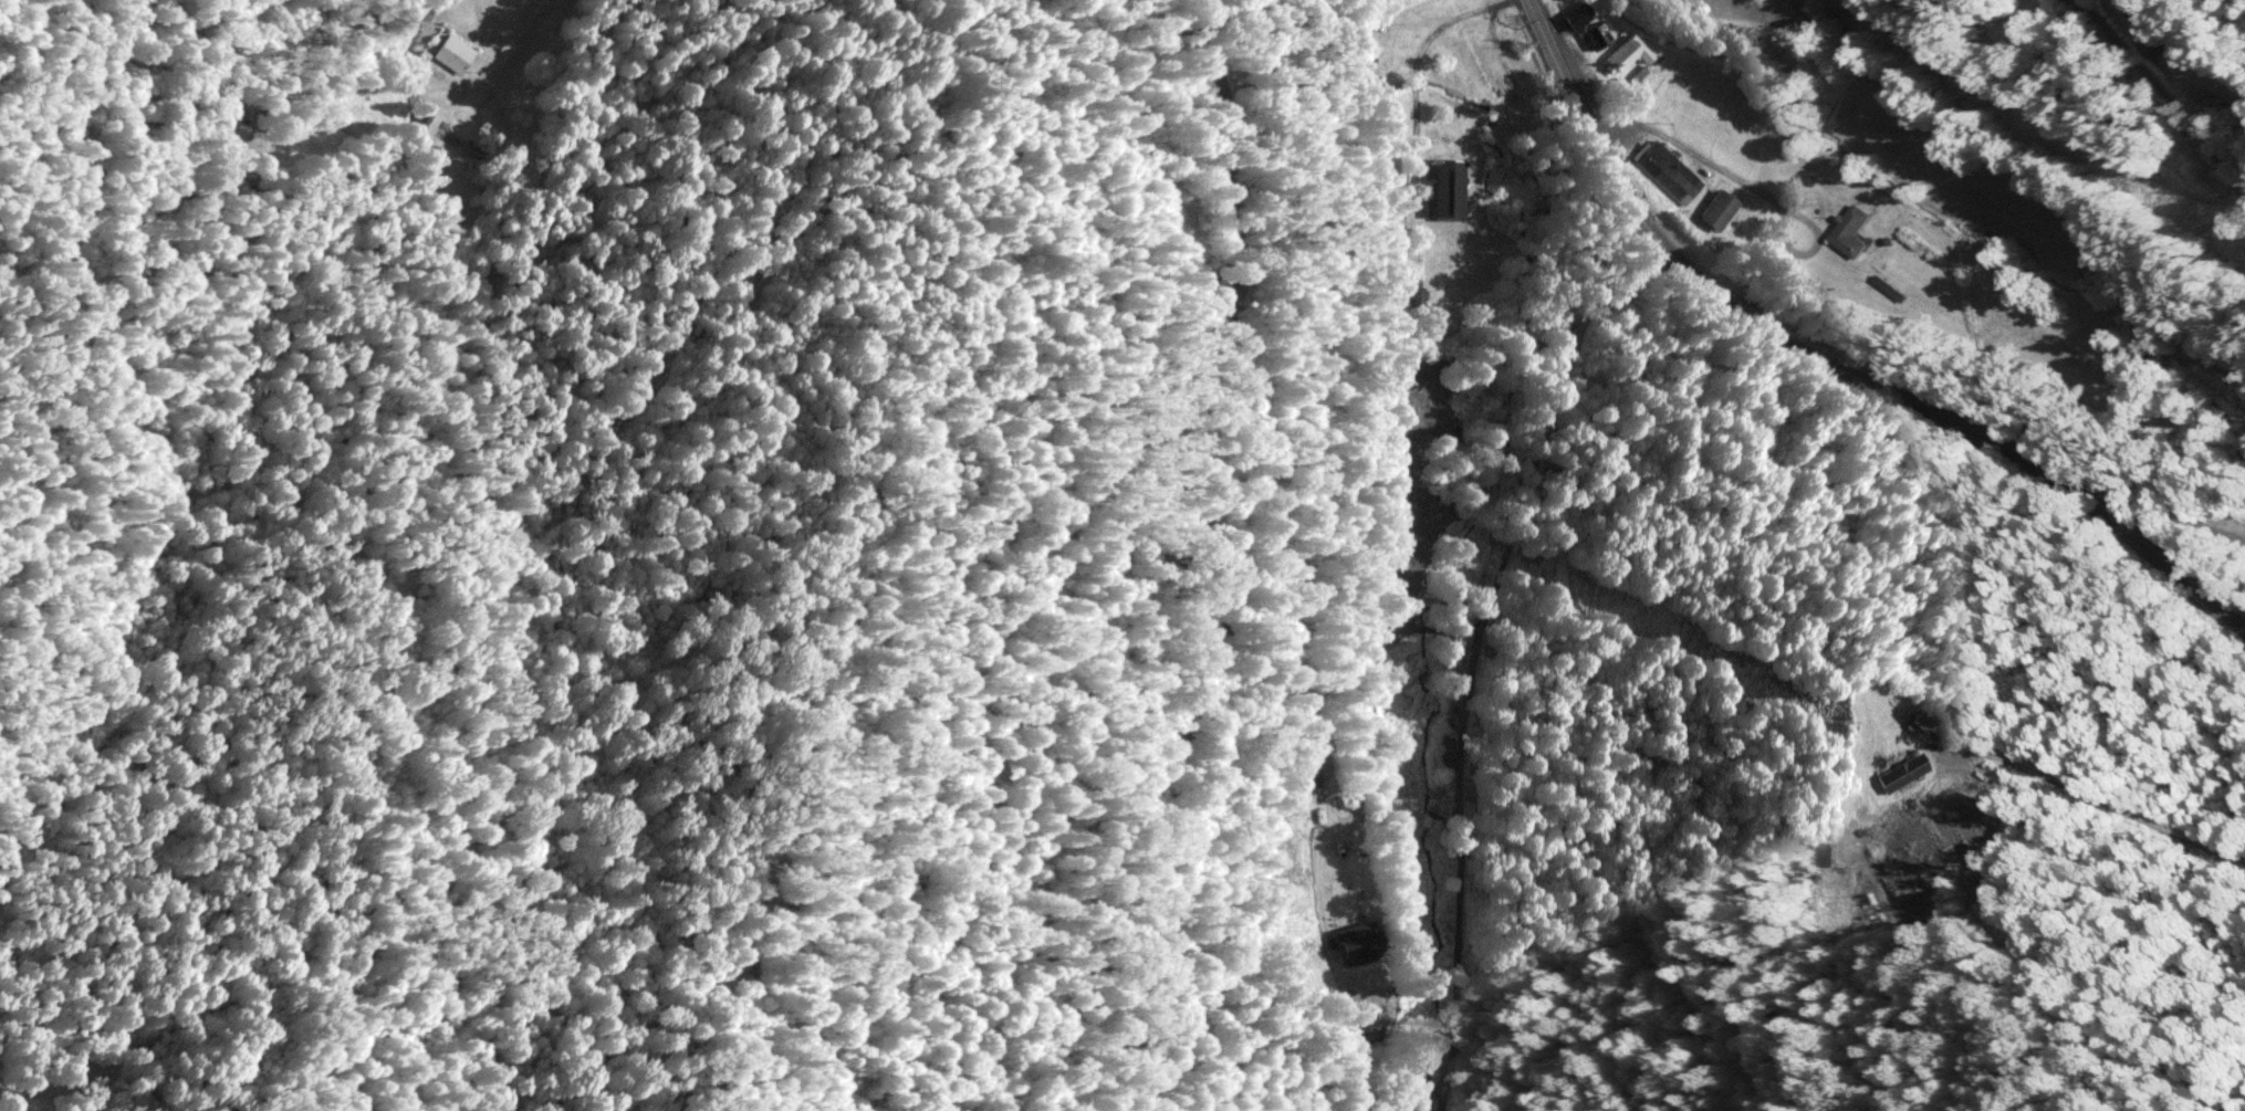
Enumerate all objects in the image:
building: (452, 52)
road: (2154, 69)
building: (1668, 169)
building: (1847, 222)
road: (1829, 378)
road: (1115, 554)
road: (1504, 667)
building: (1901, 771)

